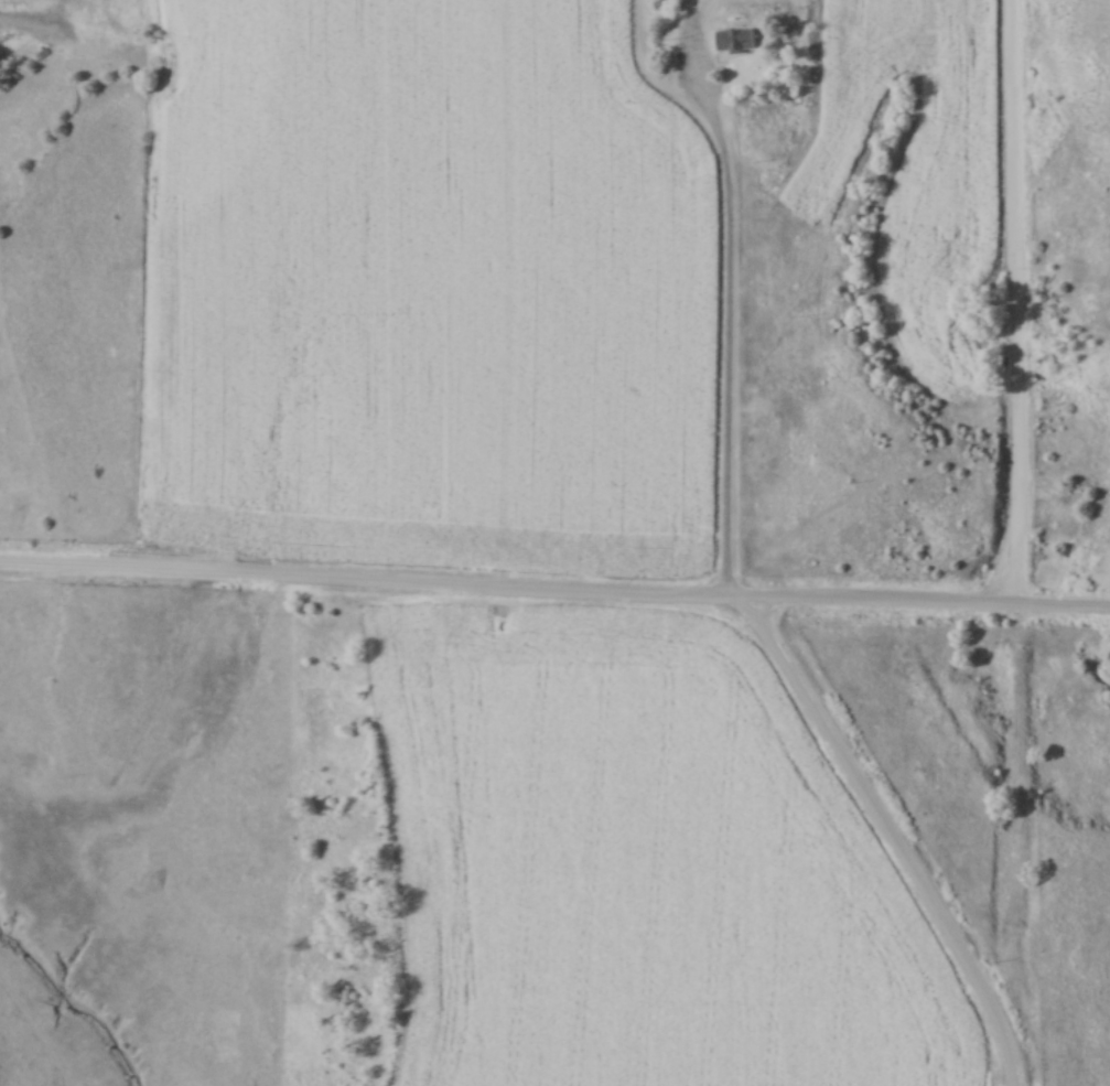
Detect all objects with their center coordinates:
building: (735, 42)
road: (1019, 302)
road: (731, 314)
road: (554, 585)
road: (893, 835)

